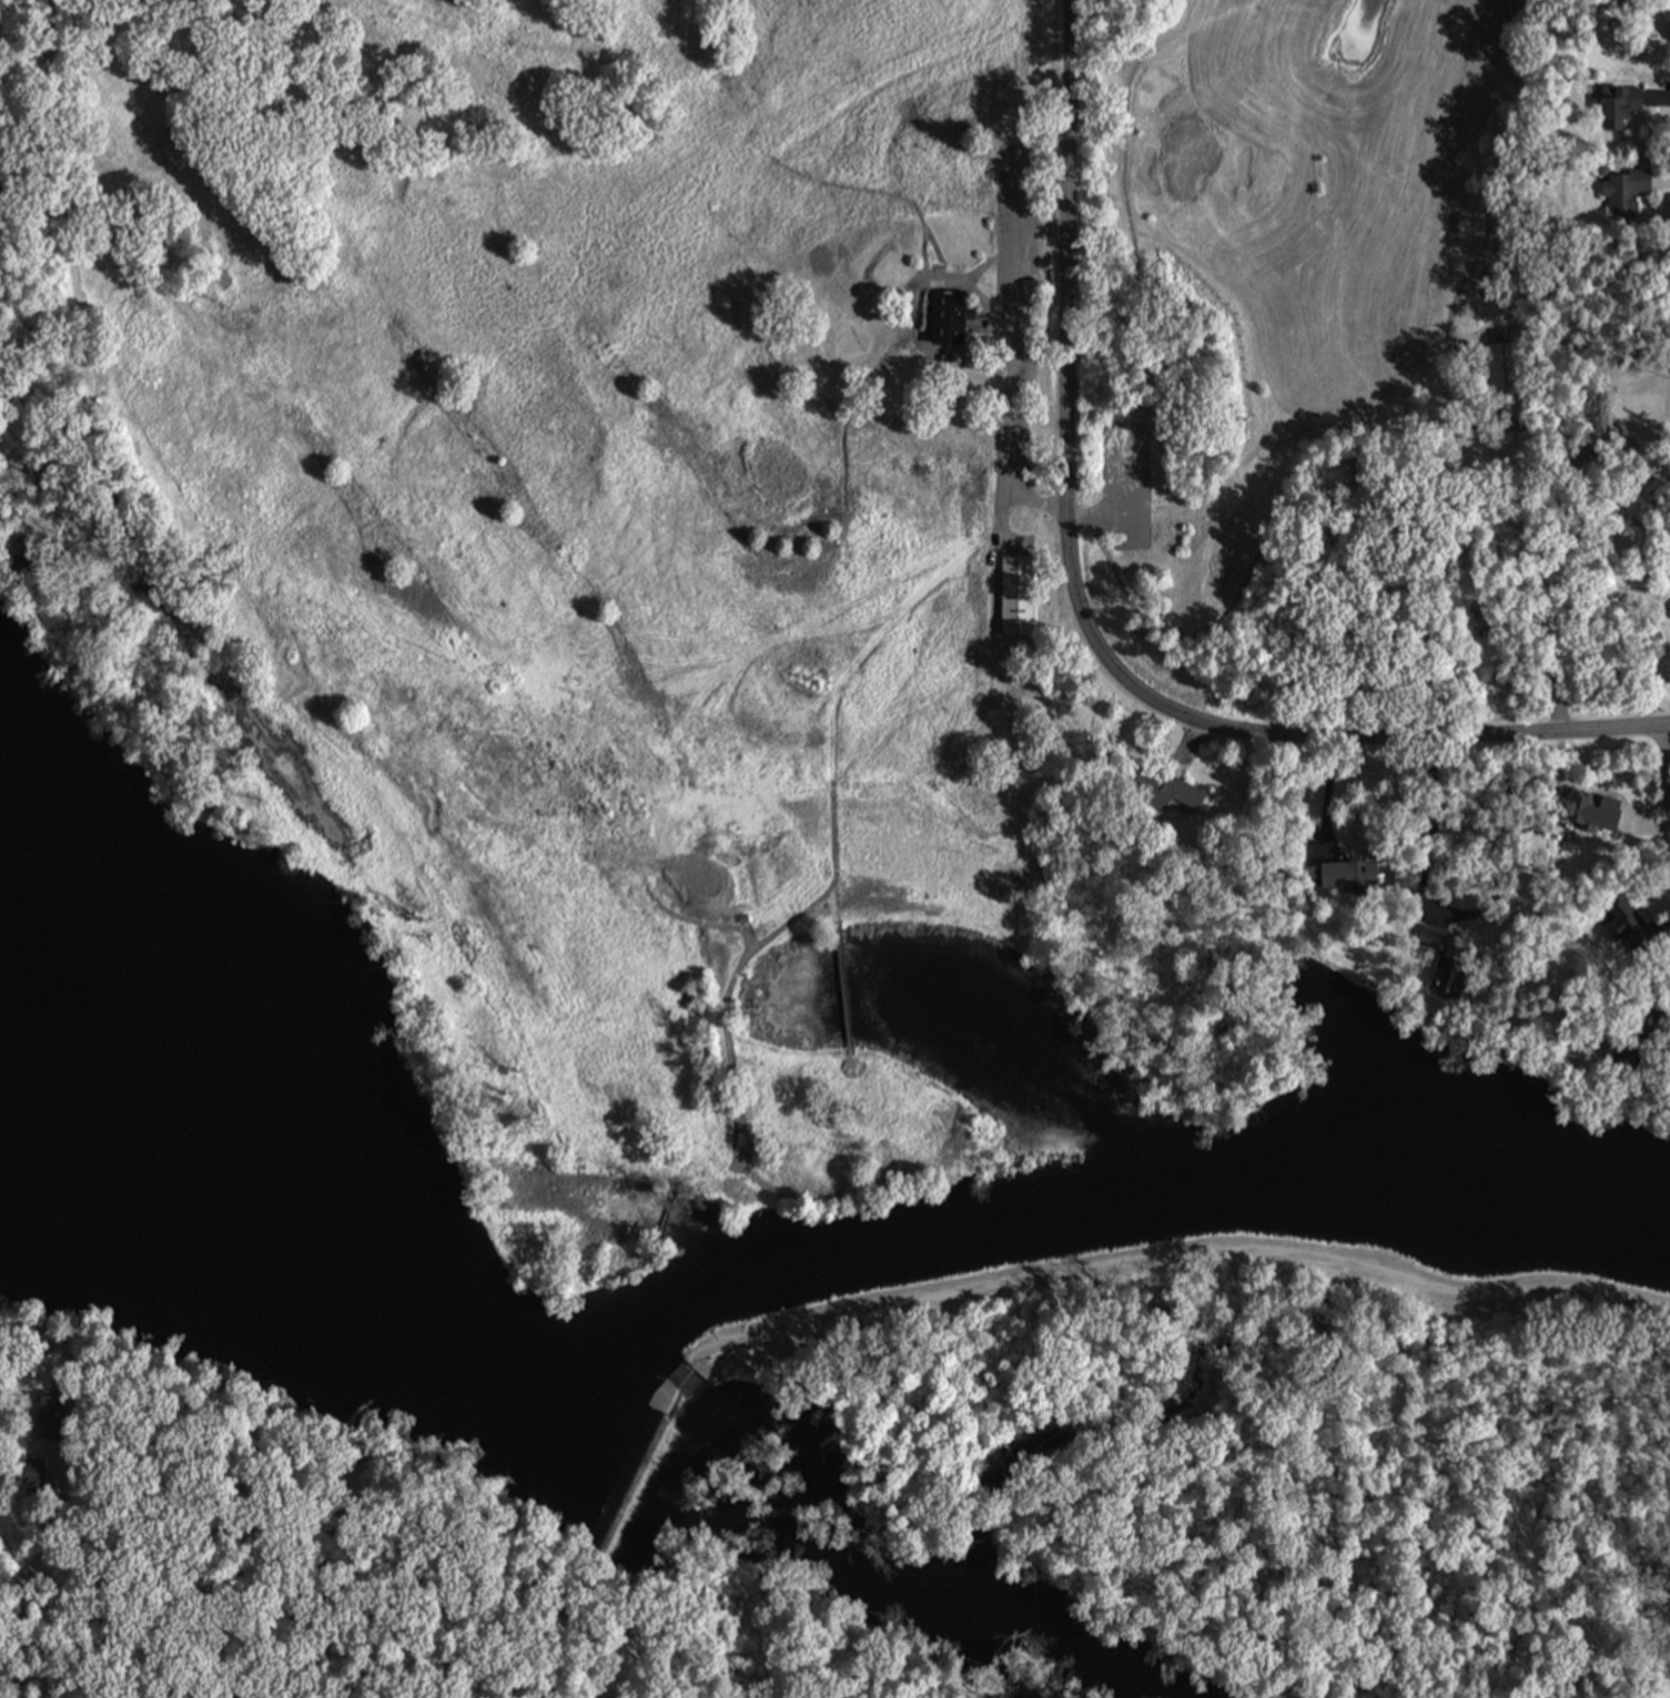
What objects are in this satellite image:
building: (1664, 12)
building: (1669, 33)
road: (1658, 99)
building: (1615, 103)
road: (1660, 179)
building: (1621, 187)
road: (1040, 224)
parking lot: (1001, 309)
parking lot: (1013, 316)
building: (944, 318)
road: (1014, 350)
building: (1500, 372)
parking lot: (1124, 482)
road: (1122, 501)
road: (1536, 576)
building: (1013, 594)
building: (1669, 618)
road: (1085, 624)
road: (1185, 746)
road: (1663, 761)
building: (1164, 789)
road: (1326, 795)
road: (831, 841)
building: (1347, 874)
road: (1457, 912)
building: (1618, 919)
road: (1664, 928)
building: (1430, 936)
building: (1640, 939)
building: (1446, 972)
road: (842, 988)
road: (1667, 1031)
building: (1621, 1055)
river: (300, 1243)
road: (1186, 1252)
building: (47, 1414)
dam: (640, 1454)
building: (29, 1473)
park: (662, 1524)
road: (31, 1570)
river: (871, 1586)
road: (559, 1619)

